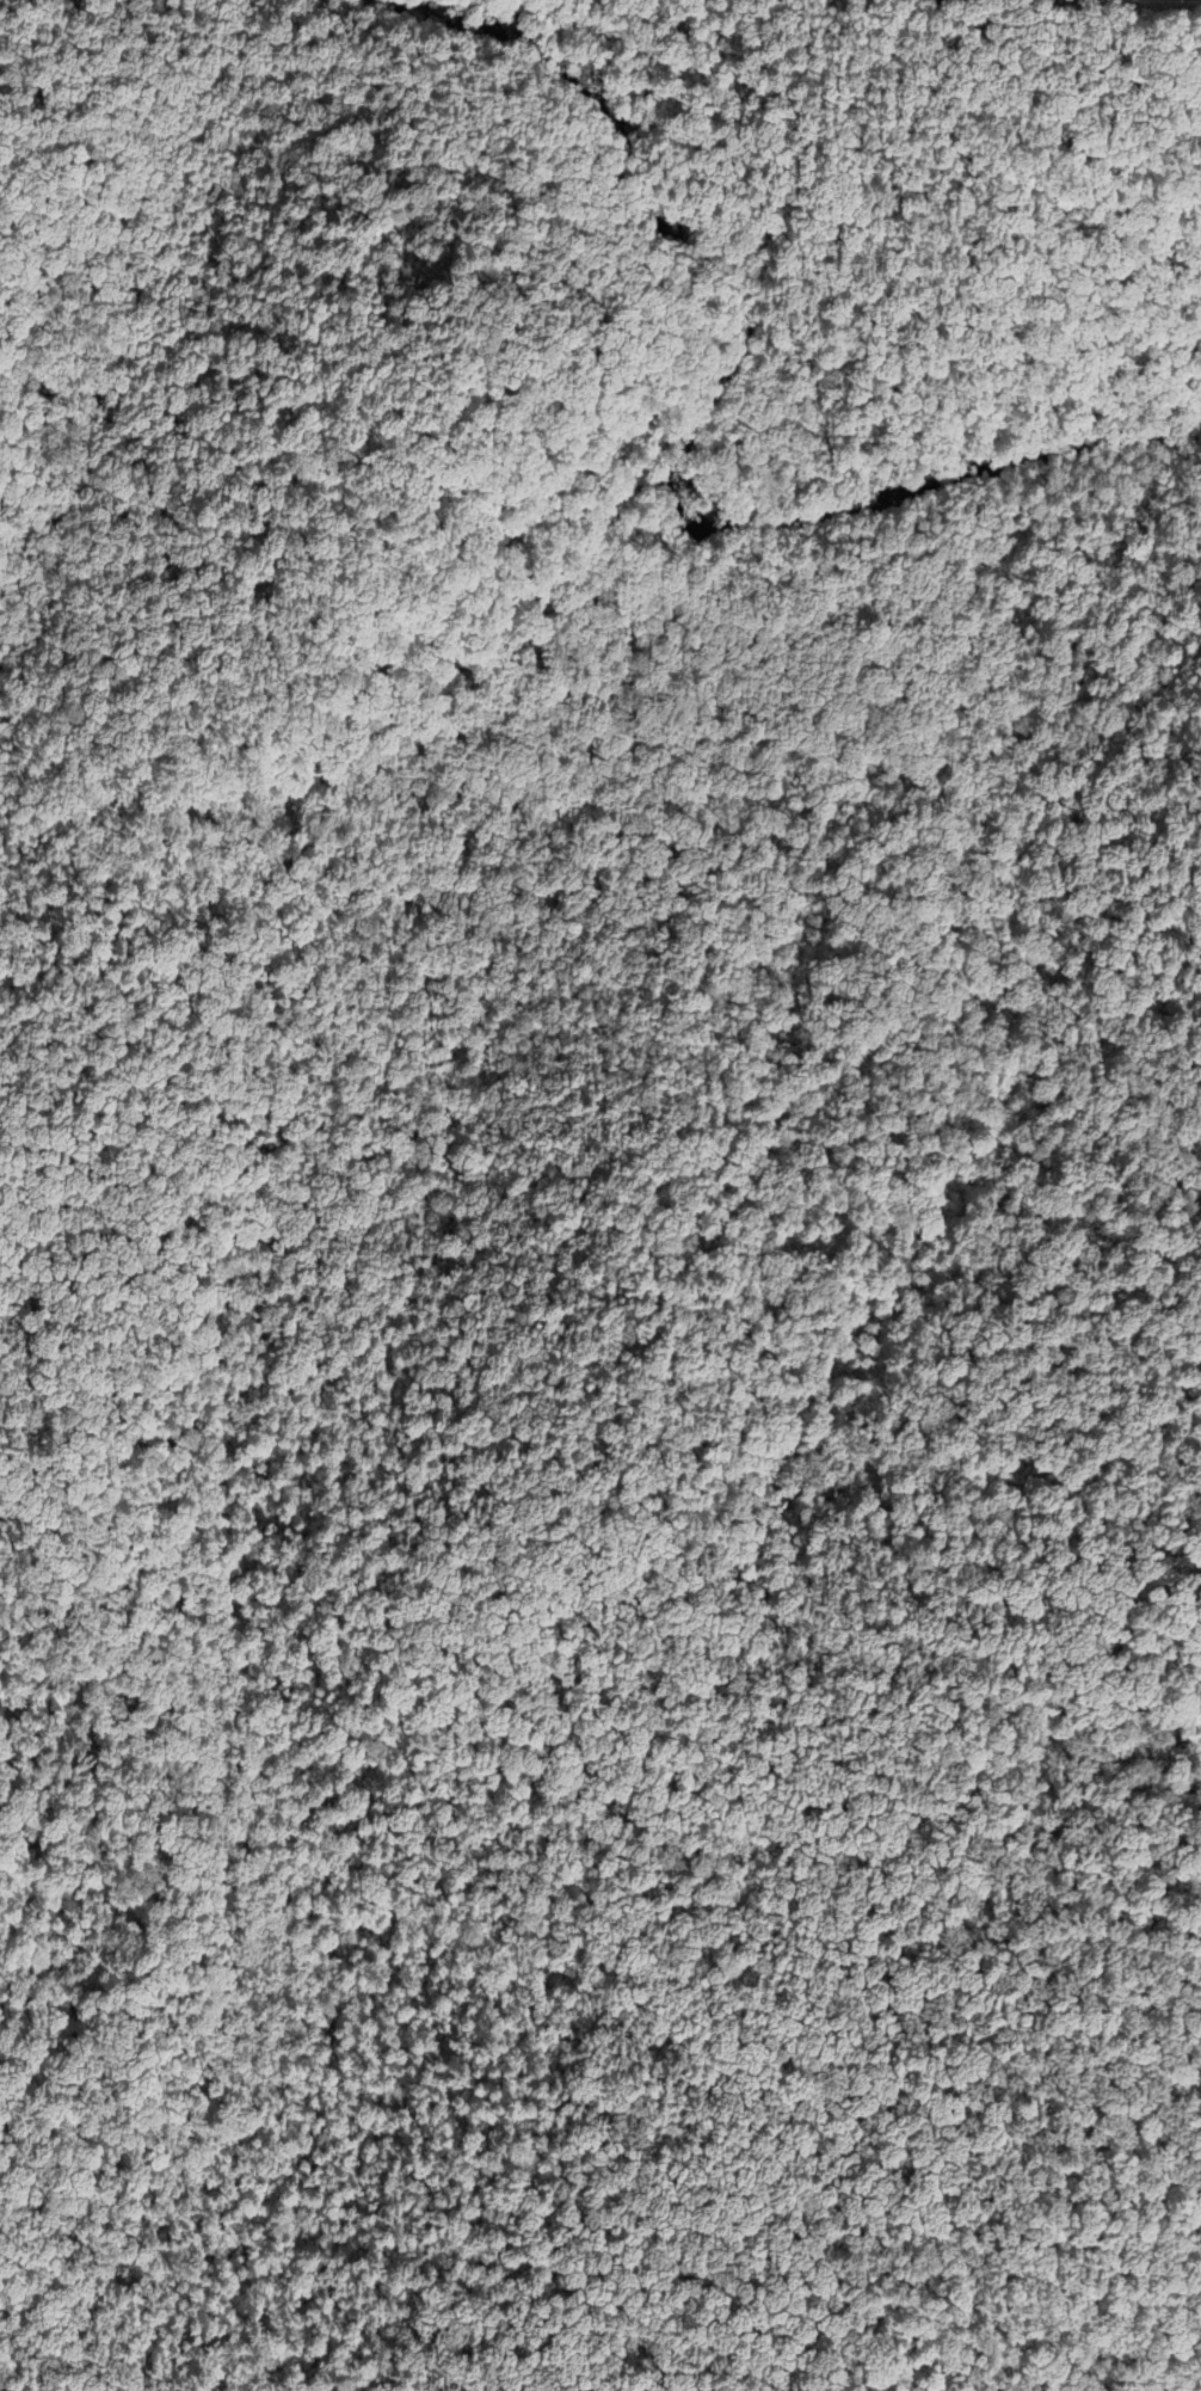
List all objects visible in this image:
building: (936, 4)
road: (655, 278)

